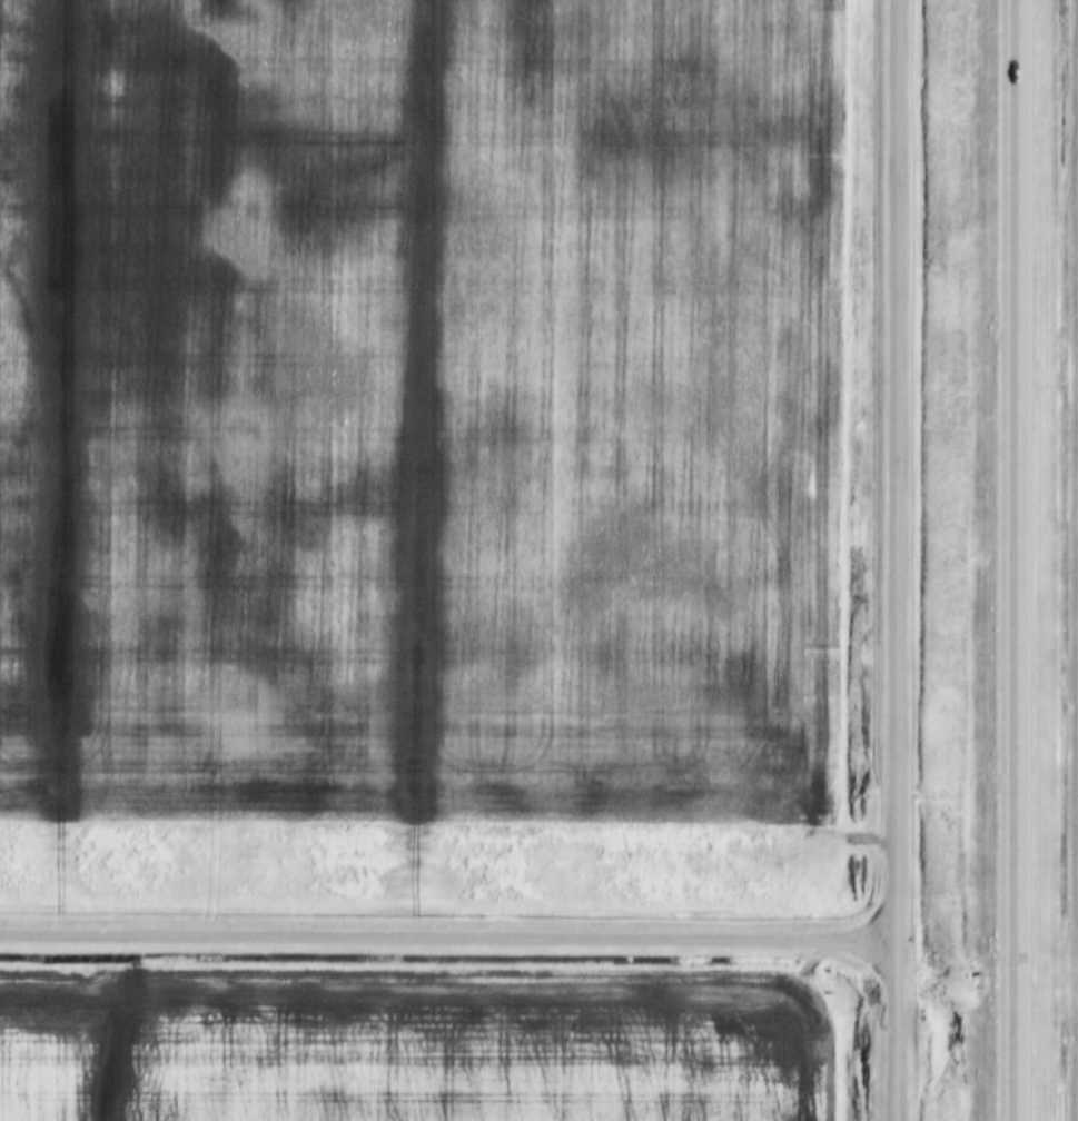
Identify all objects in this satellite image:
crop: (414, 409)
road: (893, 559)
road: (1017, 560)
road: (446, 934)
crop: (409, 1040)

